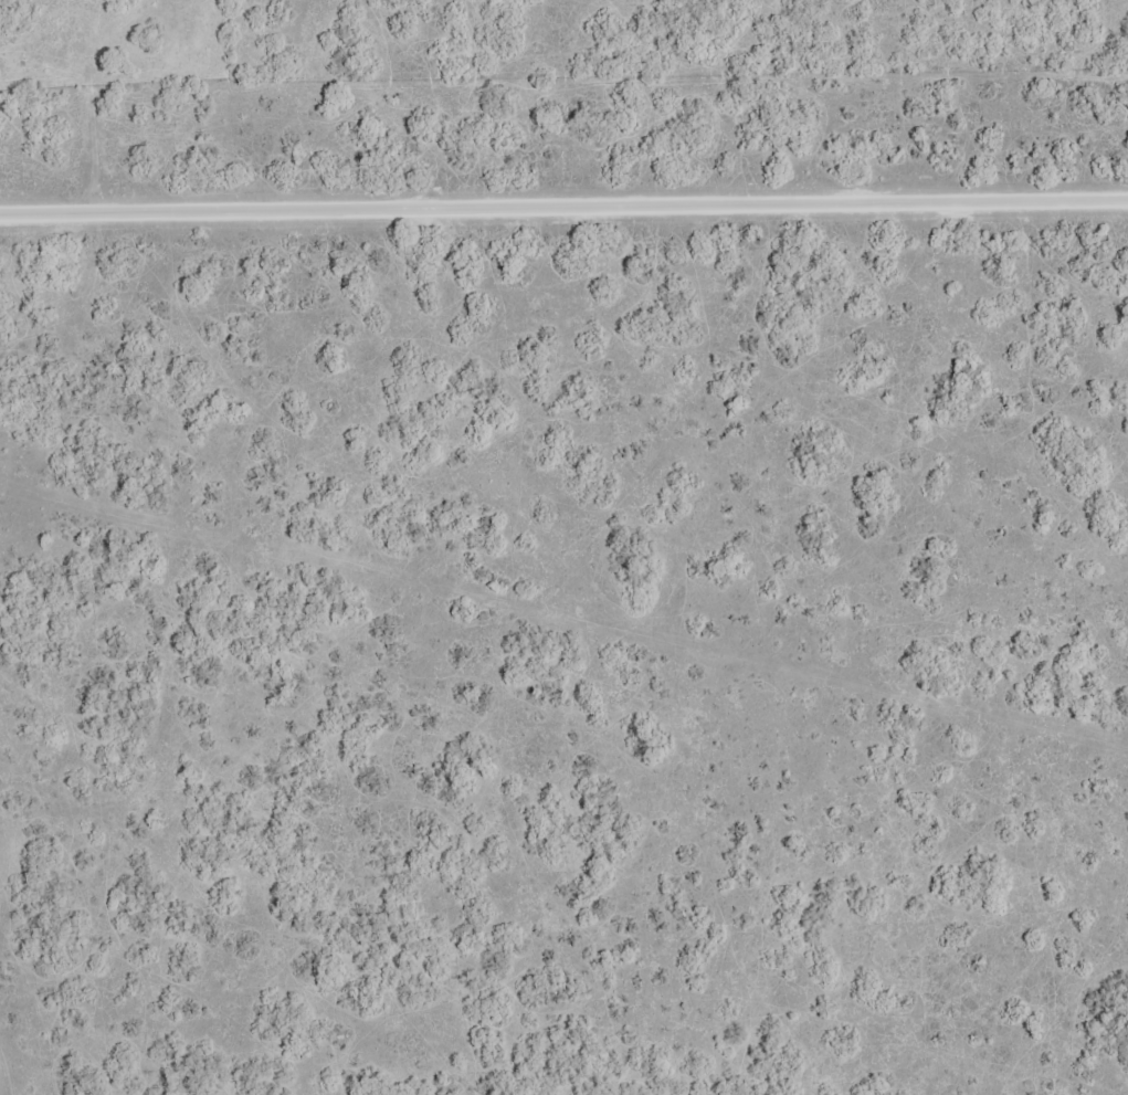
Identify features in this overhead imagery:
road: (563, 203)

